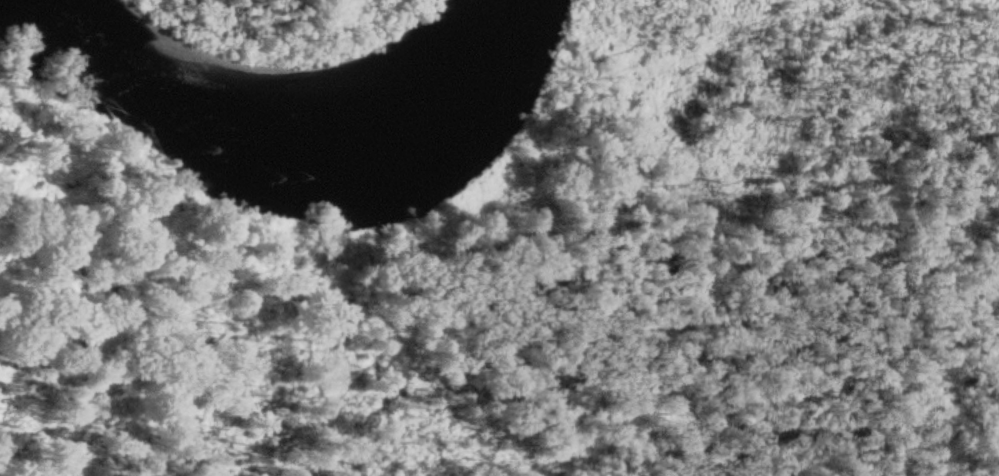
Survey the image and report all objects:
road: (562, 35)
river: (279, 122)

